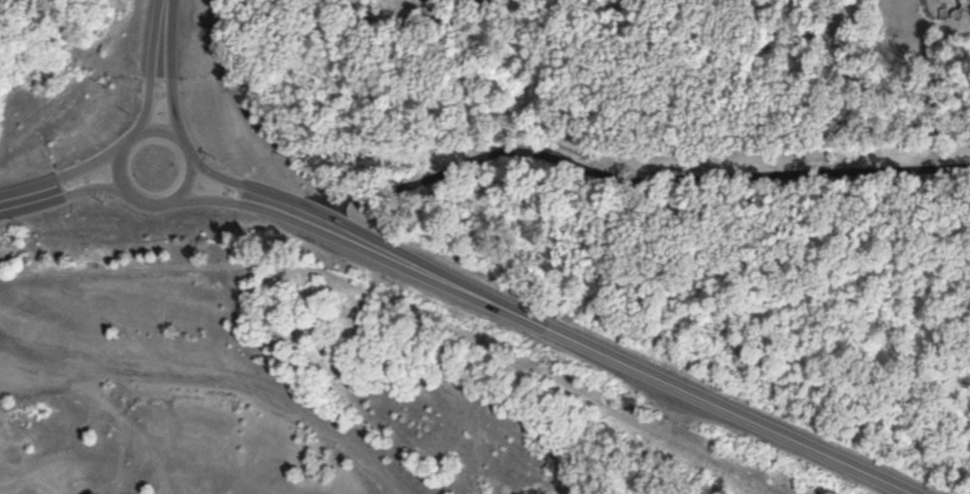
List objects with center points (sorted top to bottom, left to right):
building: (965, 2)
road: (165, 21)
road: (152, 91)
road: (173, 93)
road: (144, 130)
road: (80, 168)
road: (629, 176)
road: (232, 178)
road: (84, 188)
road: (16, 198)
road: (225, 199)
road: (596, 349)

